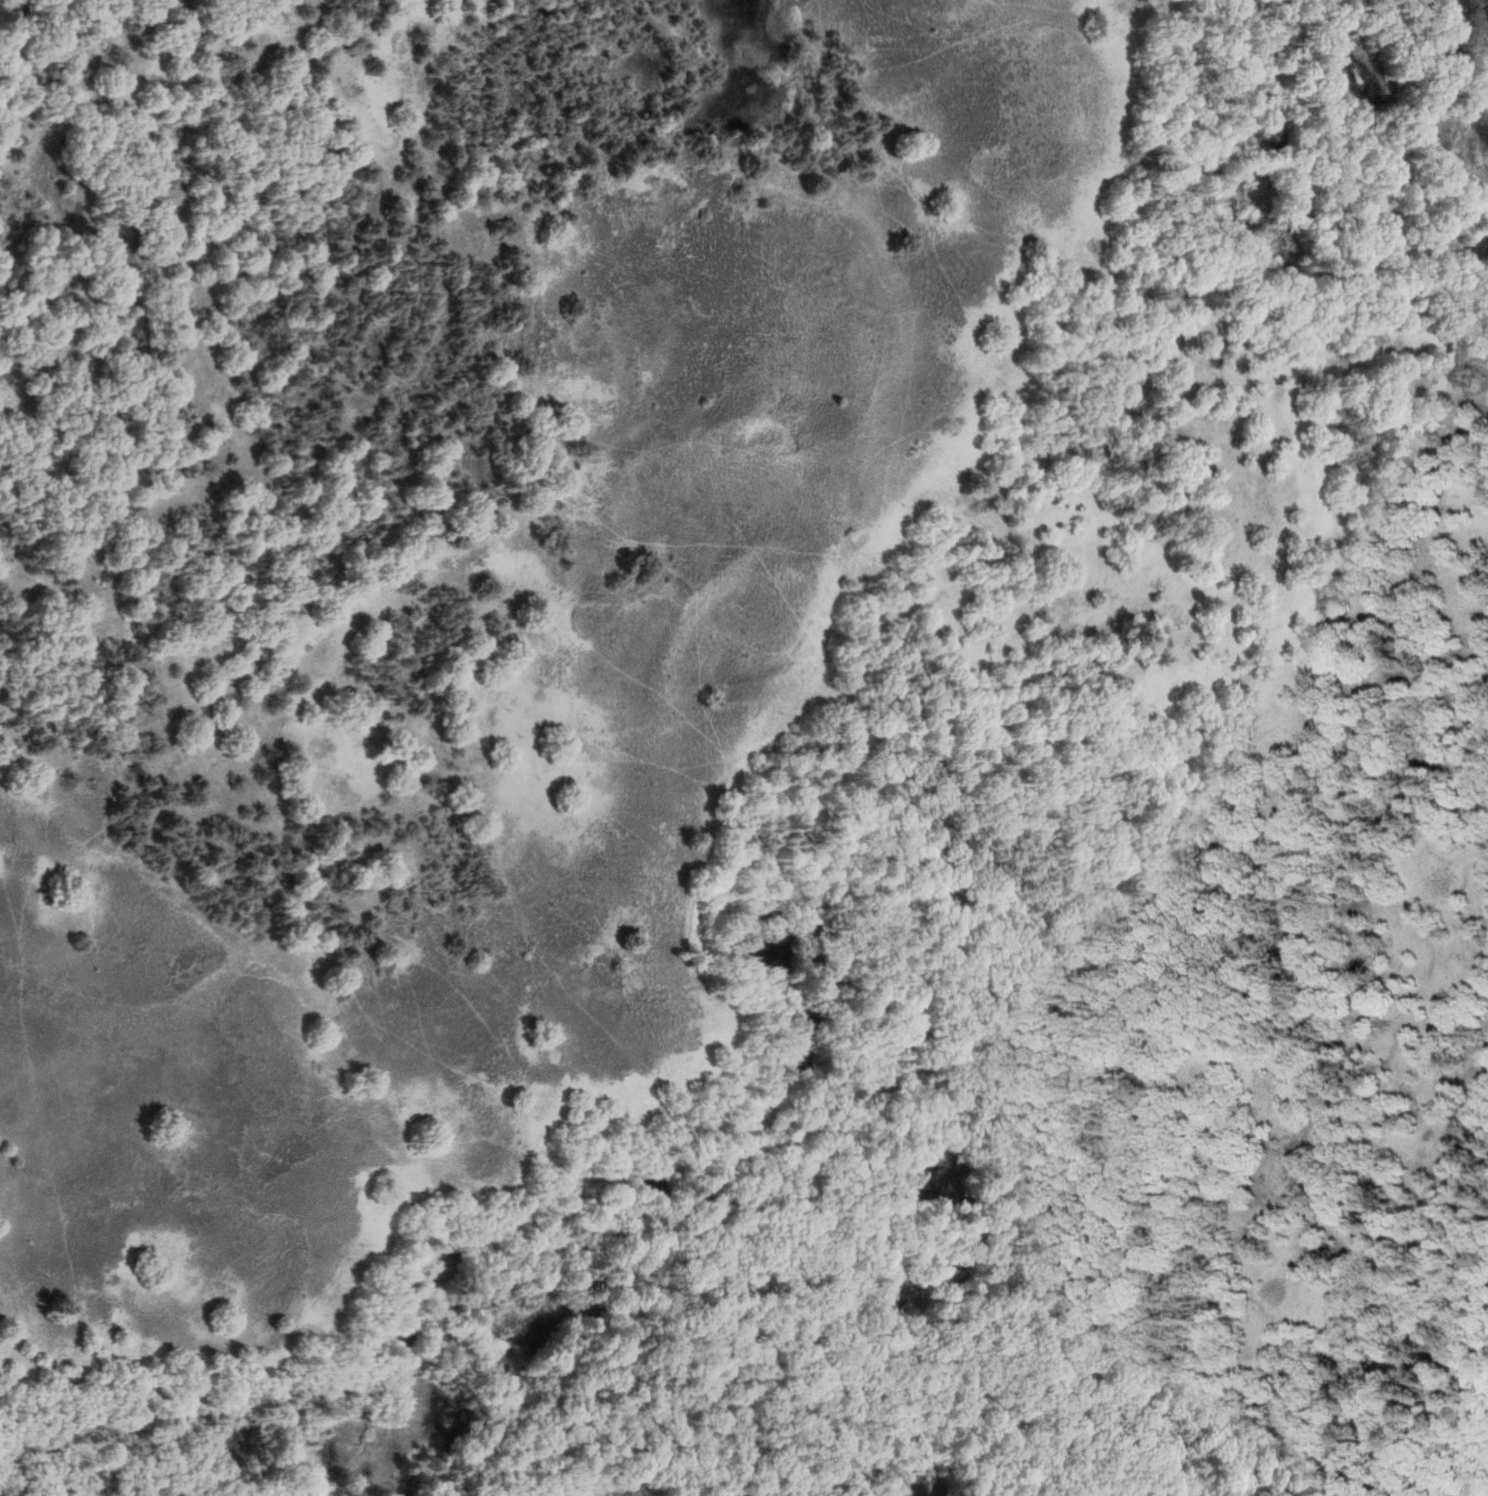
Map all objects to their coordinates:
park: (744, 748)
road: (1430, 1403)

